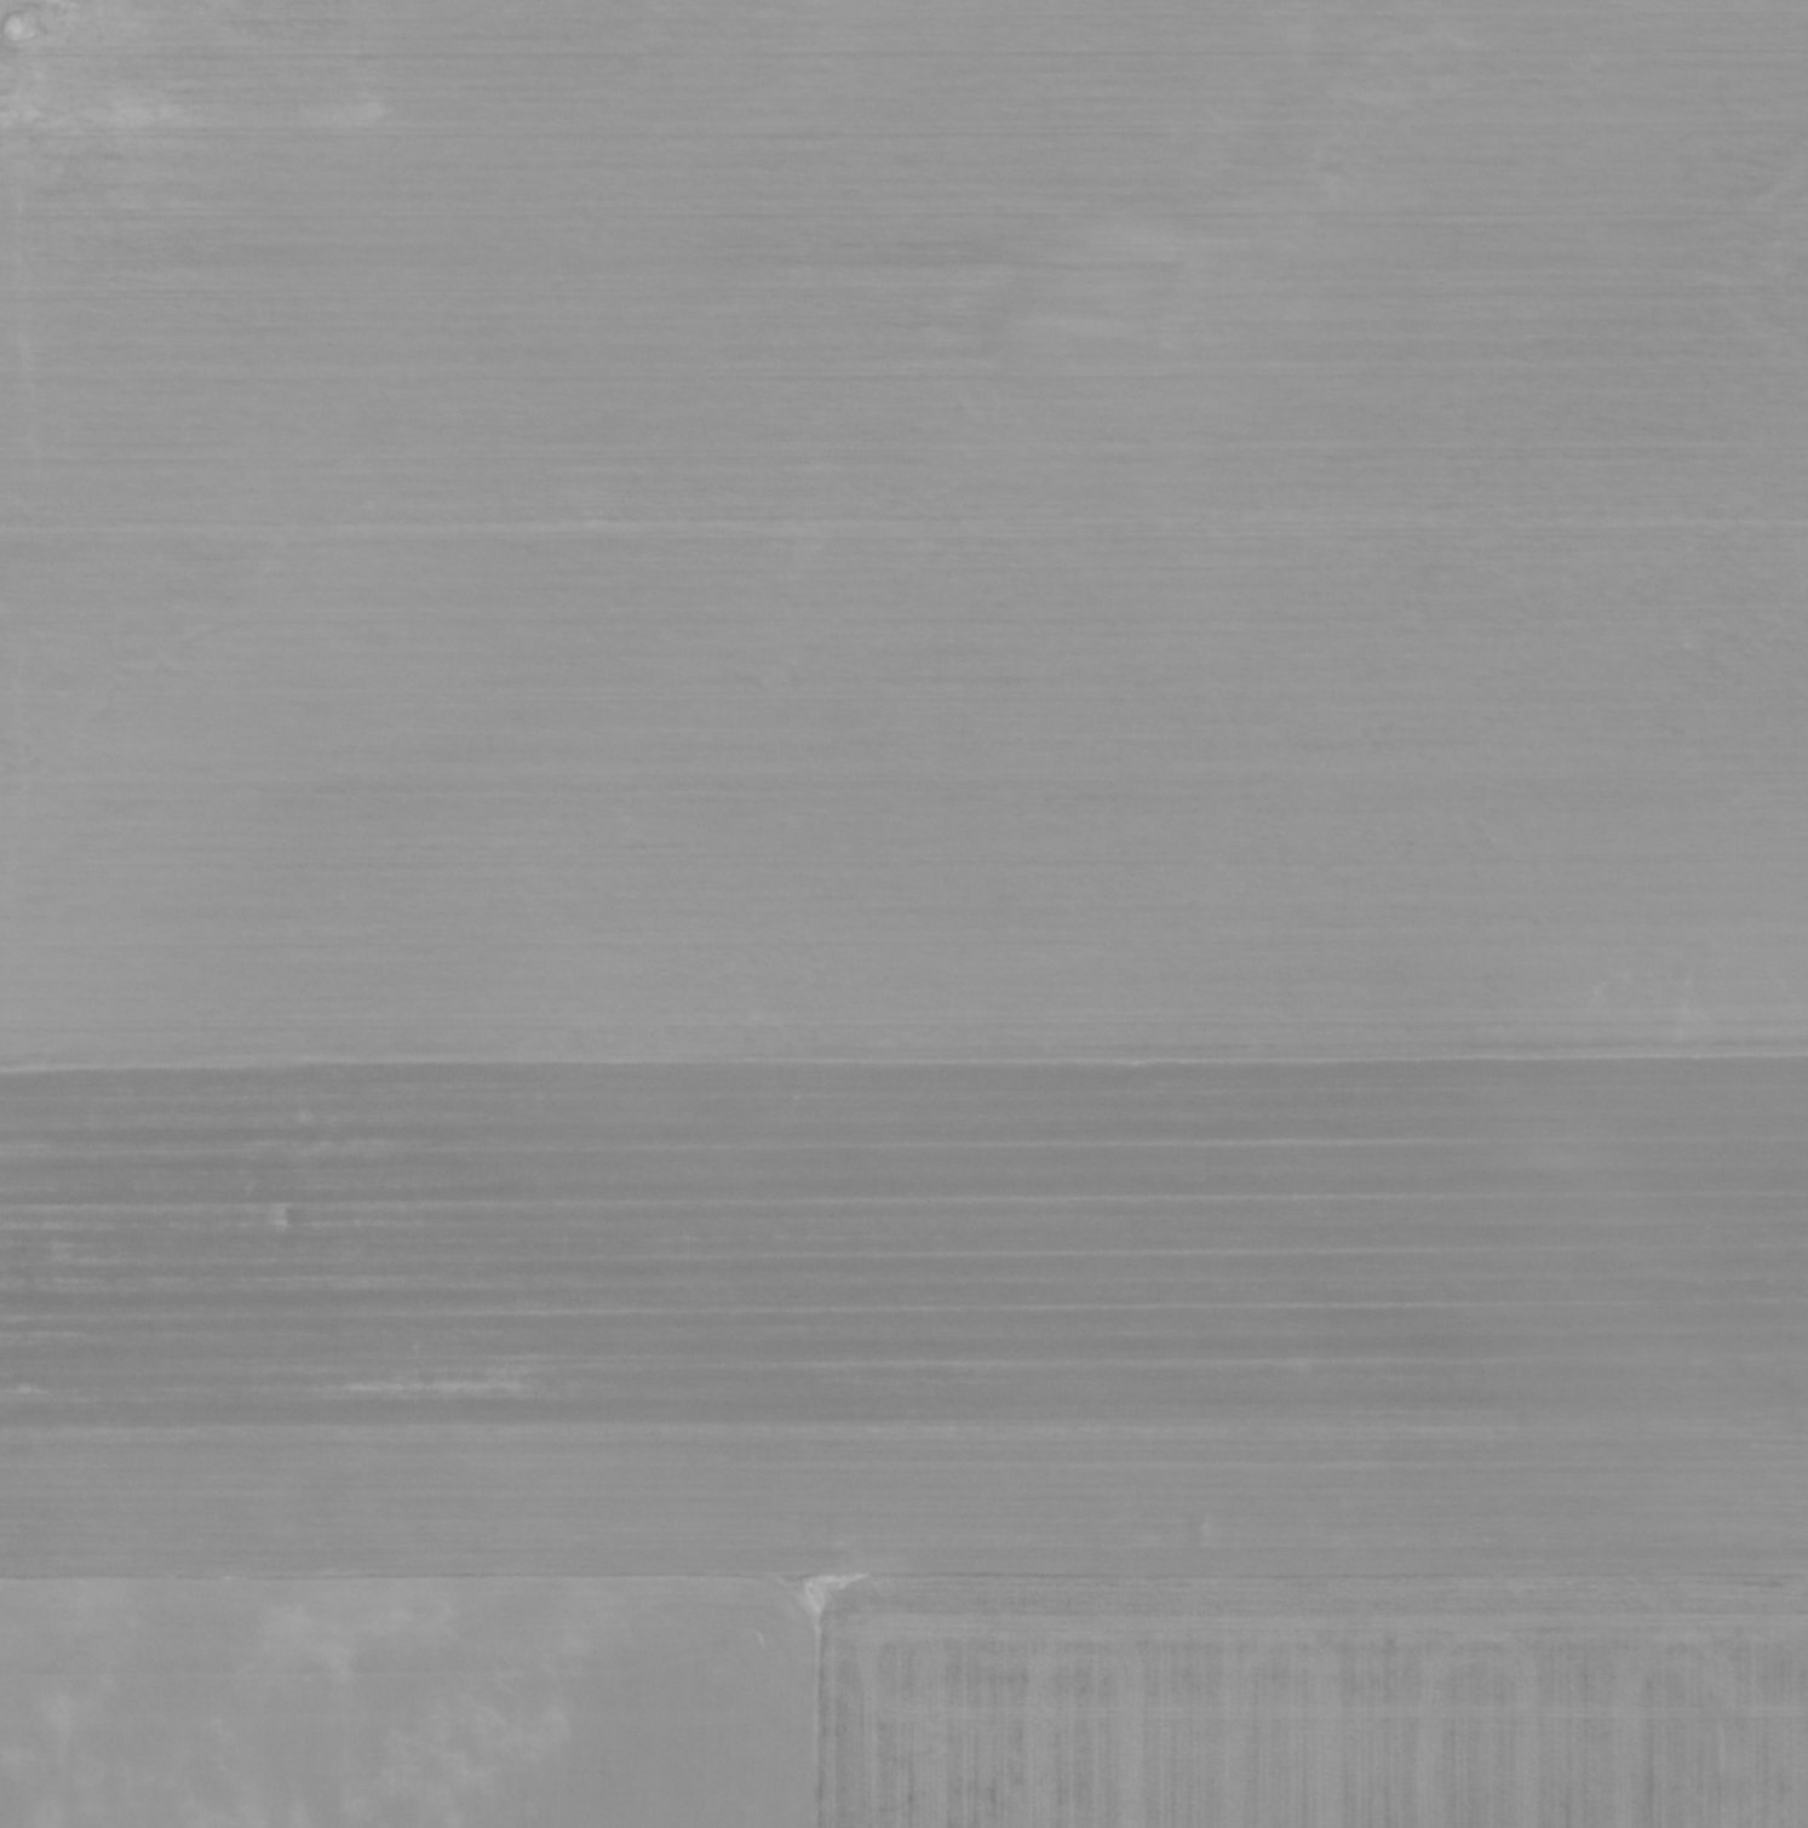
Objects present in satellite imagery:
crop: (903, 913)

